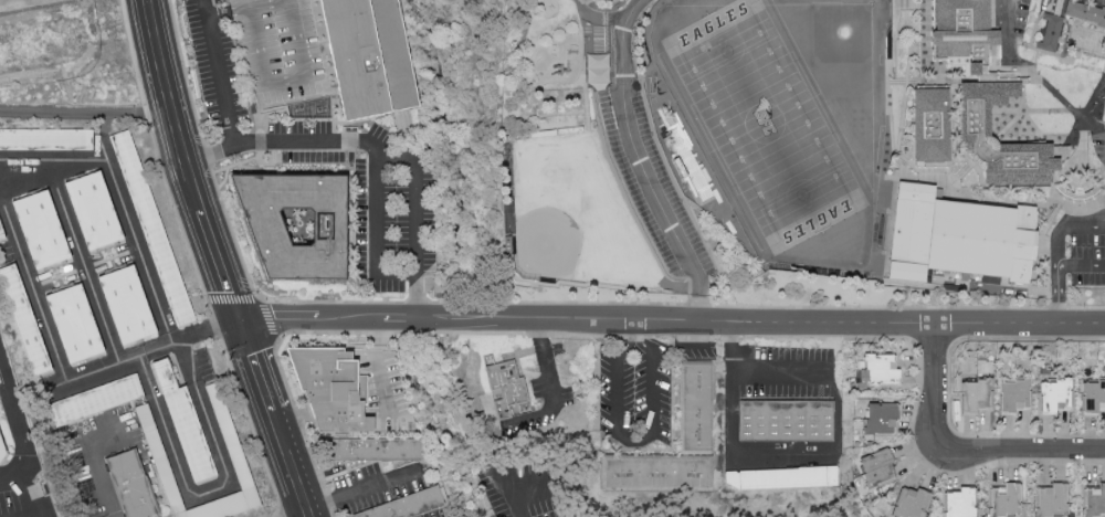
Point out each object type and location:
building: (1084, 13)
road: (598, 18)
road: (1008, 28)
building: (962, 32)
building: (1050, 32)
road: (324, 44)
building: (370, 56)
building: (271, 71)
building: (597, 71)
road: (287, 81)
park: (779, 83)
road: (225, 97)
road: (86, 110)
road: (335, 119)
park: (766, 124)
building: (930, 124)
building: (975, 124)
road: (1101, 128)
road: (404, 130)
road: (103, 137)
building: (45, 138)
road: (156, 151)
road: (187, 160)
road: (642, 163)
road: (44, 171)
road: (378, 180)
parking lot: (654, 180)
road: (418, 197)
building: (93, 210)
park: (571, 217)
building: (297, 223)
building: (151, 228)
building: (41, 229)
building: (0, 231)
building: (957, 236)
road: (1061, 249)
parking lot: (1080, 255)
road: (83, 266)
road: (1060, 296)
road: (255, 297)
road: (525, 302)
building: (127, 304)
building: (23, 318)
traffic signals: (238, 318)
road: (586, 318)
building: (74, 323)
road: (1019, 325)
road: (376, 331)
road: (676, 345)
road: (146, 352)
road: (182, 361)
road: (380, 363)
building: (877, 371)
road: (282, 372)
building: (331, 388)
building: (505, 389)
road: (552, 390)
building: (976, 394)
building: (1055, 394)
building: (1014, 395)
building: (1093, 395)
building: (94, 400)
road: (200, 407)
building: (694, 407)
road: (273, 418)
building: (881, 418)
building: (785, 420)
building: (185, 425)
building: (227, 429)
road: (21, 430)
road: (635, 442)
road: (962, 447)
building: (377, 449)
road: (806, 462)
building: (0, 464)
building: (161, 464)
road: (178, 467)
road: (354, 467)
building: (876, 467)
building: (654, 472)
building: (782, 477)
building: (131, 484)
road: (99, 485)
road: (388, 485)
road: (362, 487)
road: (516, 487)
parking lot: (528, 487)
road: (31, 494)
building: (1006, 498)
building: (1050, 499)
building: (1094, 499)
road: (328, 500)
building: (958, 500)
building: (909, 502)
building: (220, 505)
building: (408, 505)
road: (371, 508)
road: (331, 513)
road: (33, 515)

